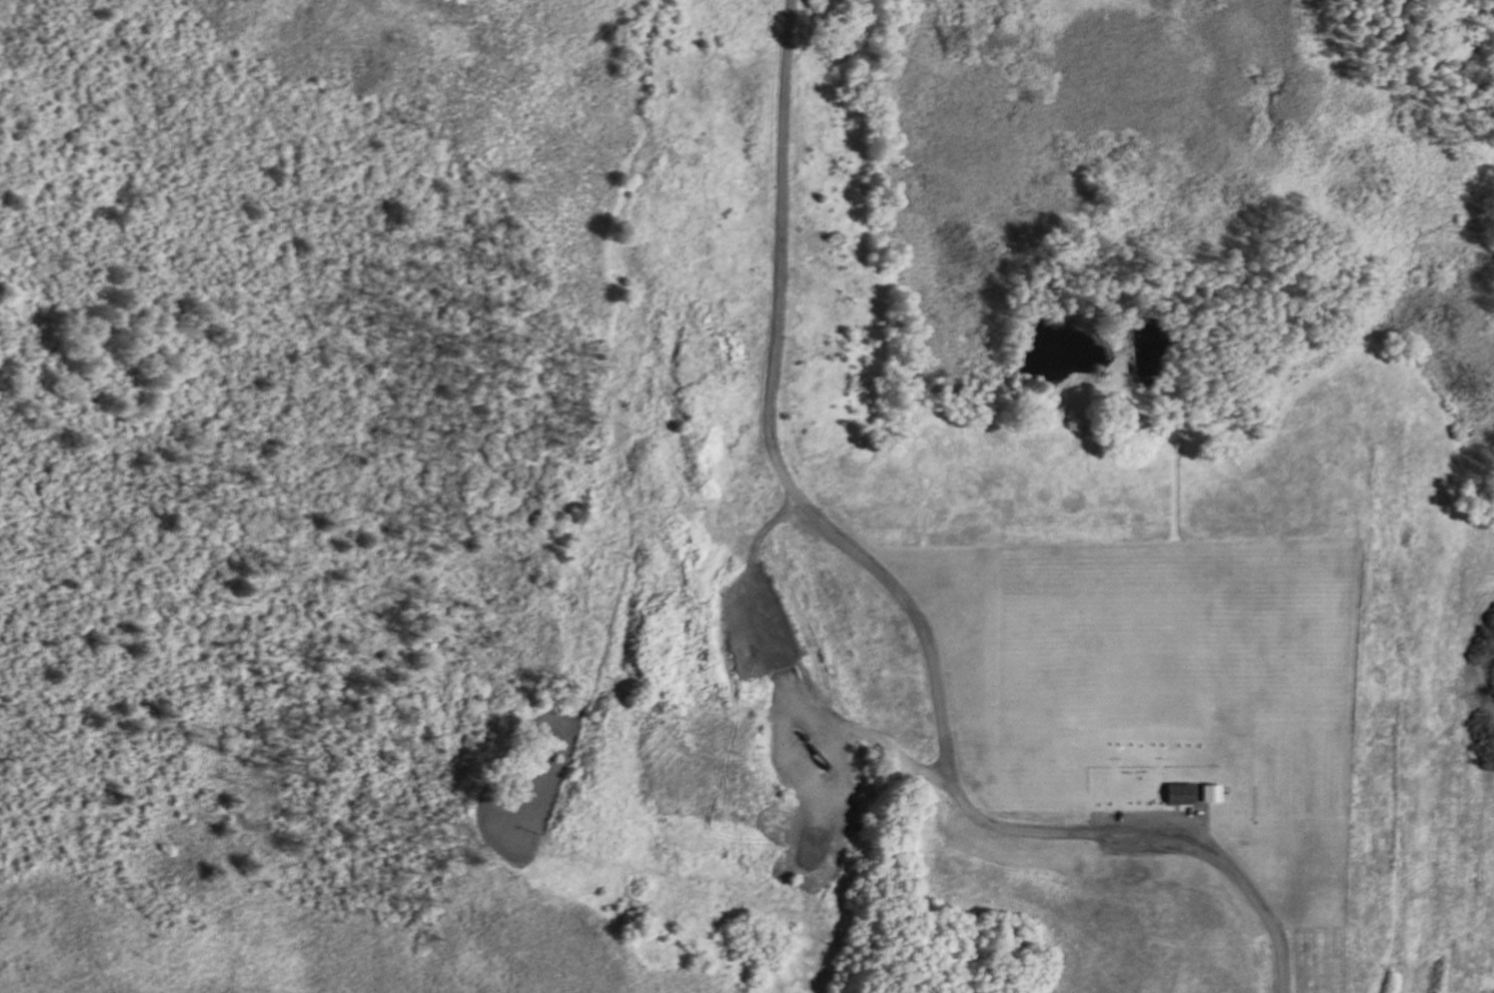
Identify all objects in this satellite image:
road: (894, 596)
building: (1204, 792)
building: (1172, 793)

